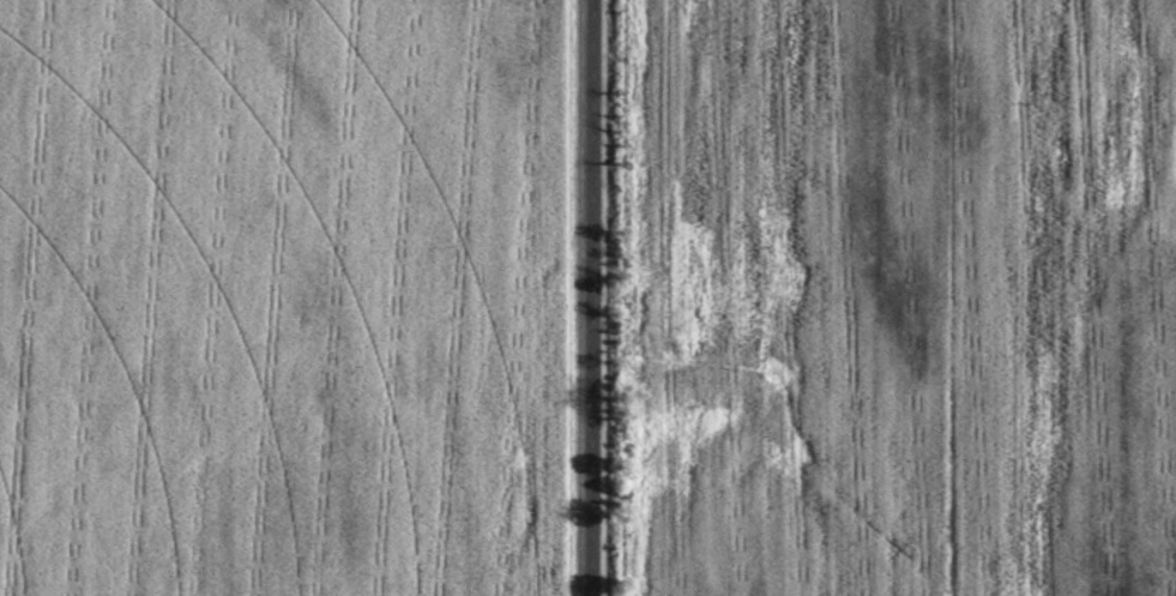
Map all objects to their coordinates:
road: (591, 297)

